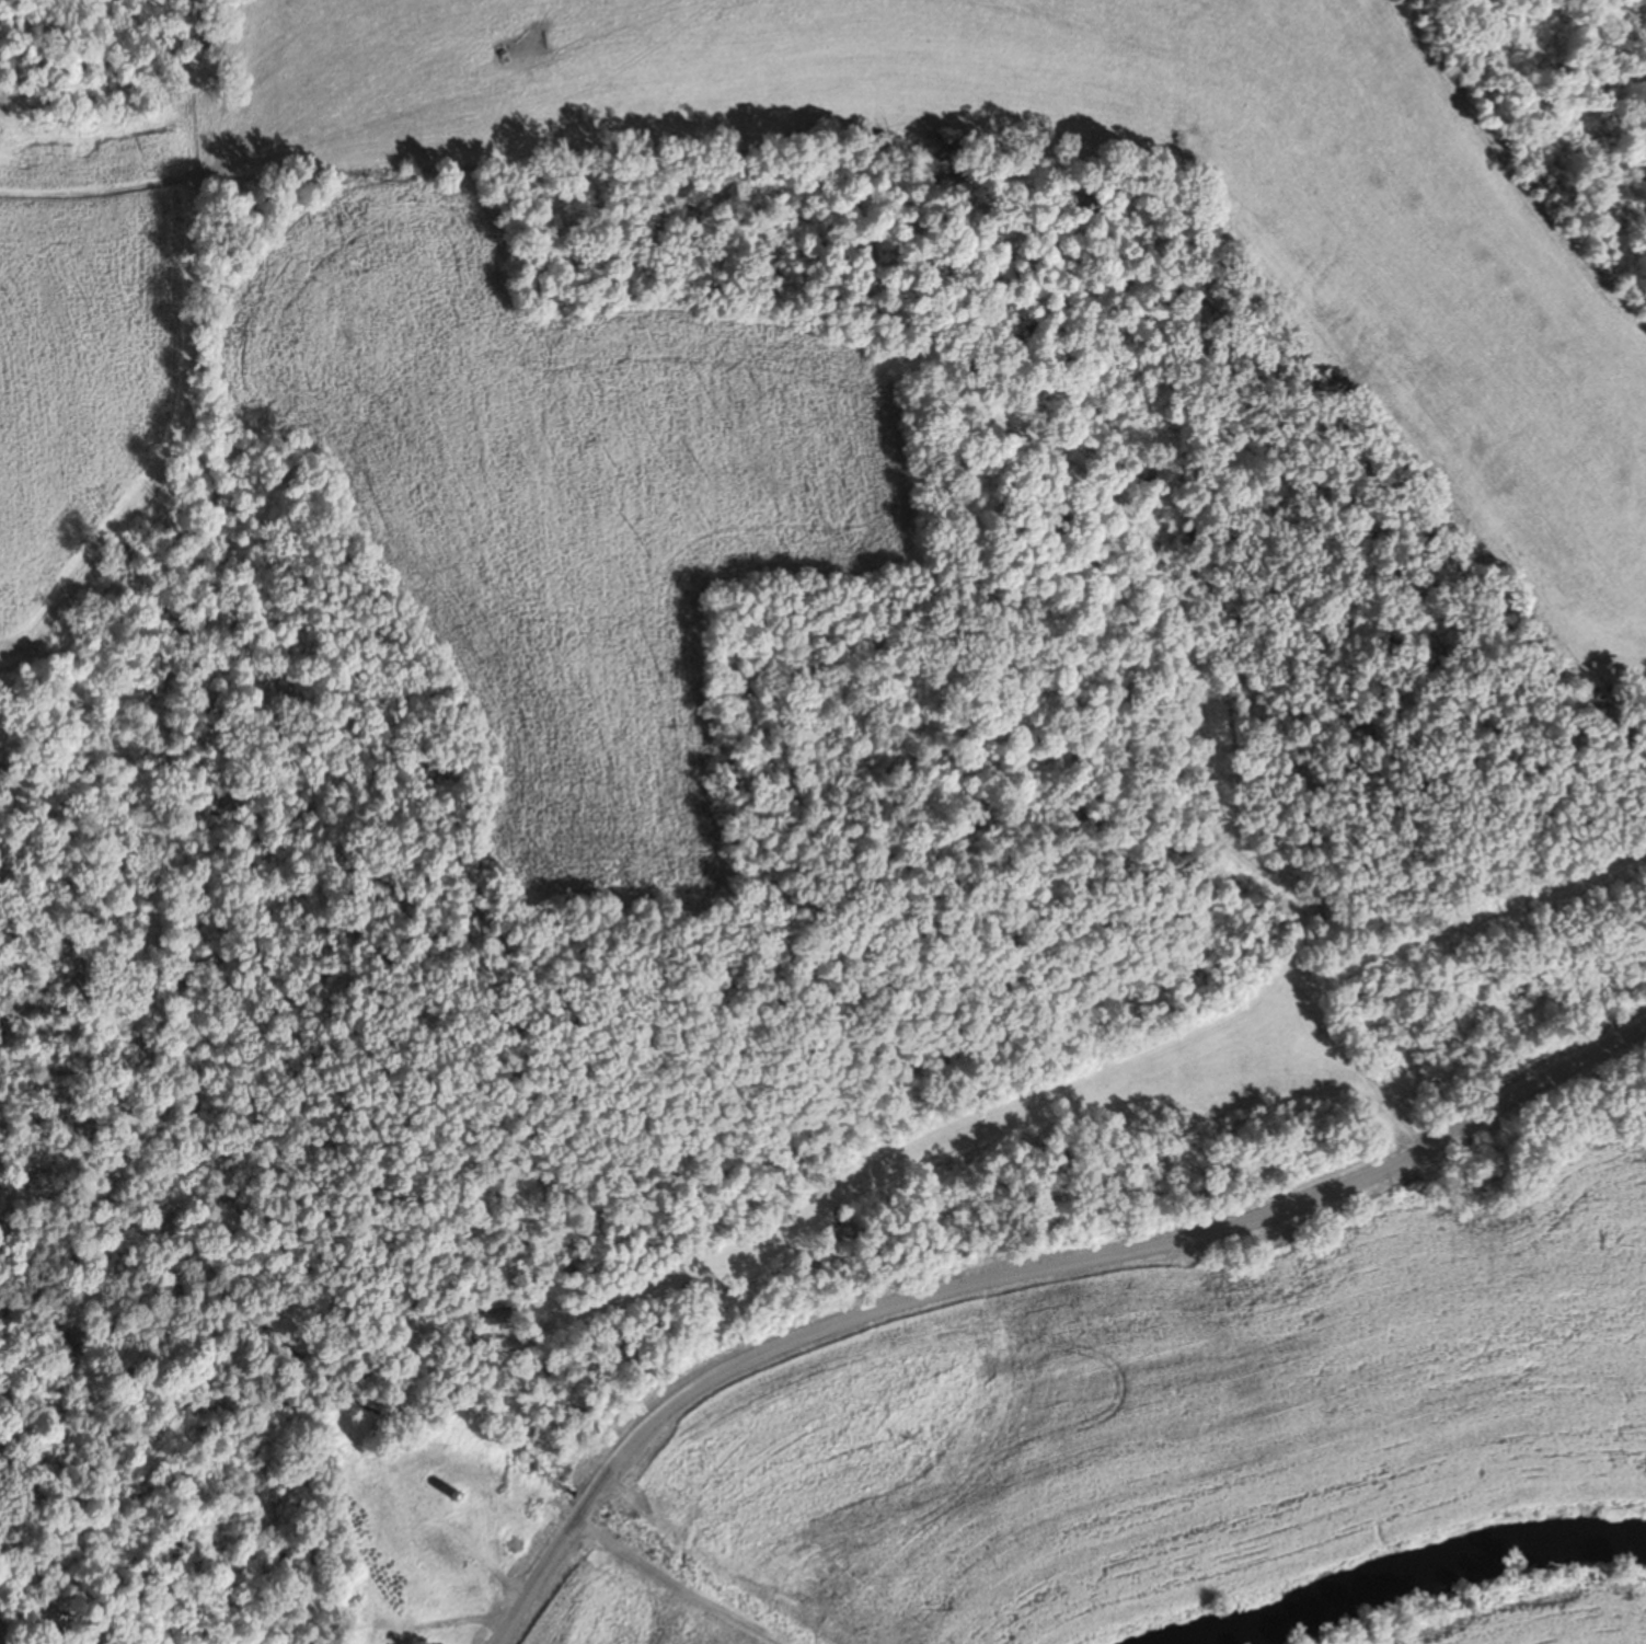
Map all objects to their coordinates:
road: (989, 1258)
building: (495, 1324)
river: (1403, 1585)

